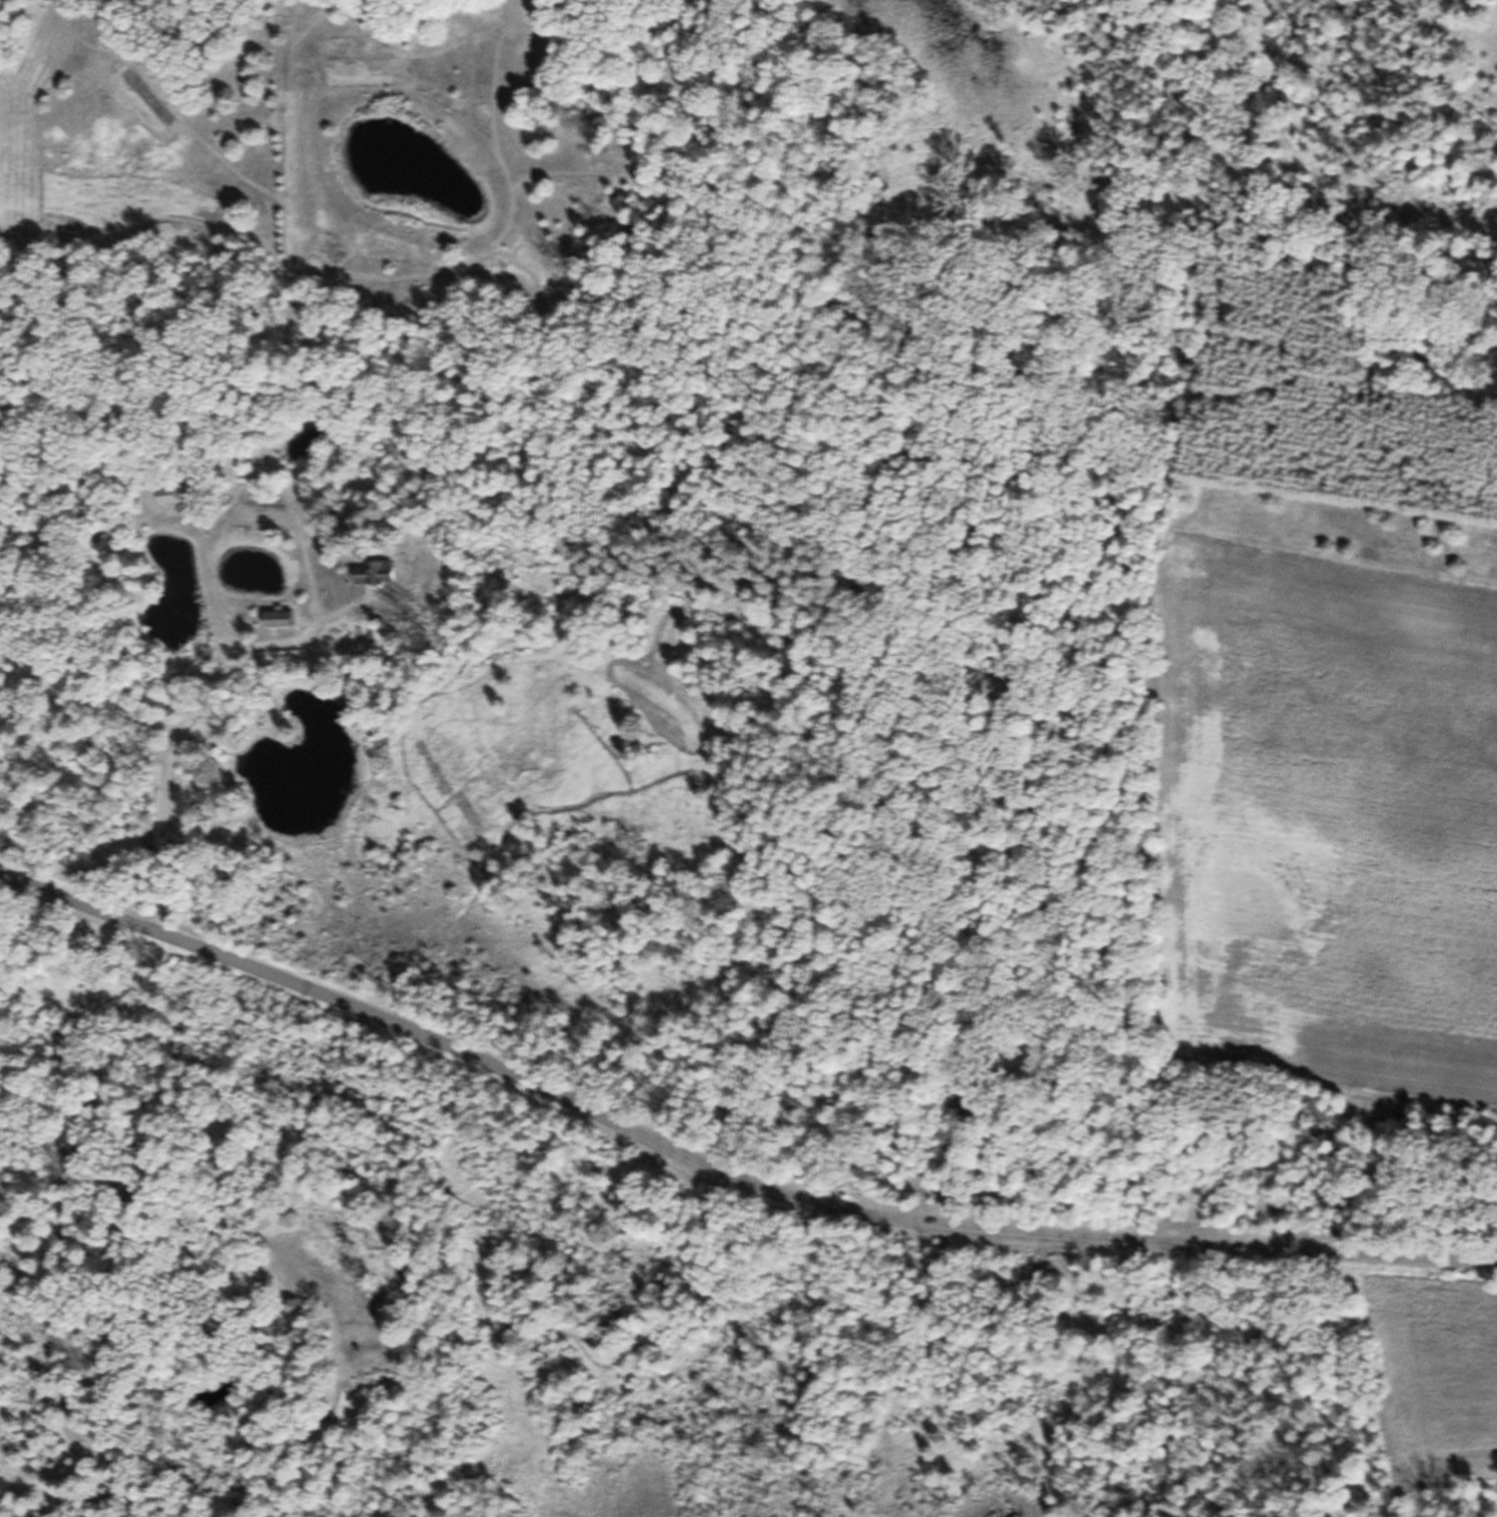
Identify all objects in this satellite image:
building: (375, 580)
building: (278, 628)
road: (171, 739)
road: (724, 1150)

